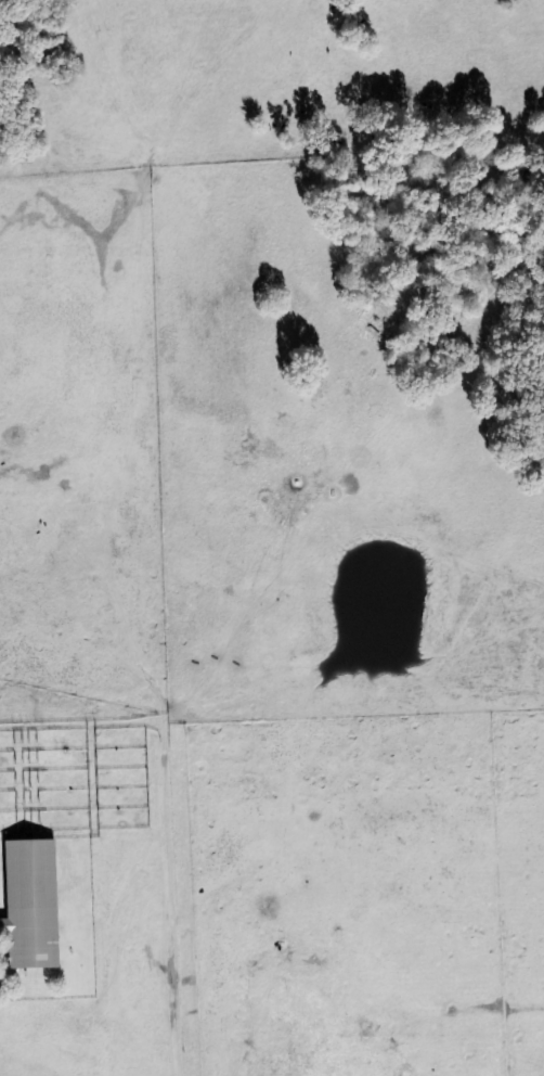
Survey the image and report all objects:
building: (27, 907)

